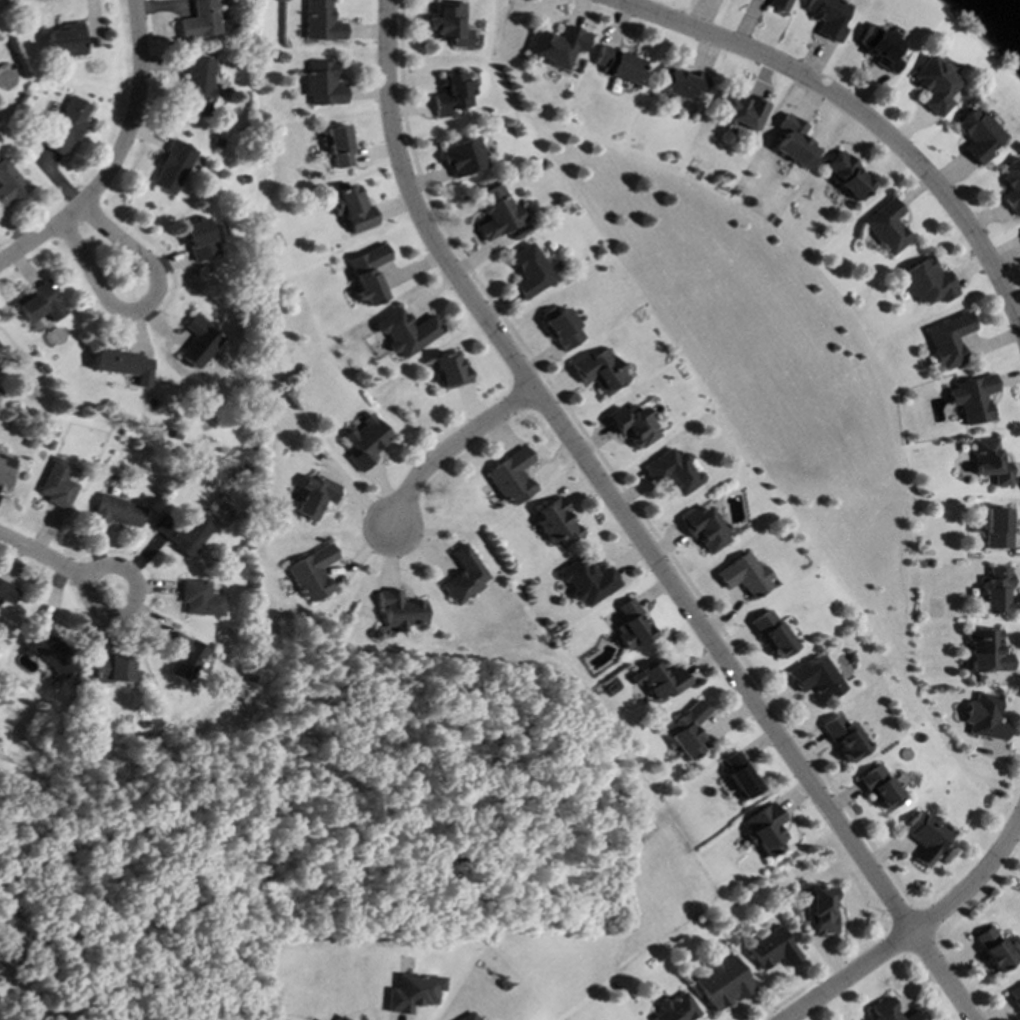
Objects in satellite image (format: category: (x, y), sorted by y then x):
building: (778, 5)
building: (827, 18)
building: (200, 20)
building: (320, 22)
building: (450, 24)
building: (67, 40)
building: (558, 46)
building: (880, 48)
building: (618, 64)
building: (323, 84)
building: (681, 84)
building: (935, 85)
building: (199, 86)
building: (454, 95)
building: (741, 111)
road: (858, 112)
building: (68, 126)
building: (978, 135)
building: (795, 143)
building: (339, 147)
road: (116, 156)
building: (465, 157)
building: (173, 168)
building: (849, 176)
building: (9, 184)
building: (1012, 186)
building: (353, 209)
building: (498, 213)
building: (888, 227)
building: (200, 240)
building: (531, 271)
building: (370, 274)
building: (928, 283)
building: (38, 304)
road: (146, 307)
building: (564, 330)
building: (408, 332)
building: (950, 340)
building: (199, 342)
building: (124, 365)
building: (452, 370)
building: (600, 371)
building: (974, 398)
park: (778, 413)
building: (633, 425)
building: (367, 442)
road: (454, 446)
building: (991, 462)
building: (6, 470)
building: (673, 472)
building: (512, 477)
road: (603, 483)
building: (57, 484)
building: (315, 498)
building: (117, 511)
building: (557, 523)
building: (998, 528)
building: (705, 530)
building: (182, 533)
road: (43, 558)
building: (312, 573)
building: (464, 576)
building: (745, 576)
building: (587, 581)
building: (997, 591)
building: (8, 594)
building: (199, 599)
road: (128, 607)
building: (399, 611)
building: (630, 626)
building: (772, 634)
building: (987, 652)
building: (48, 653)
building: (183, 657)
building: (111, 668)
building: (816, 677)
building: (658, 679)
building: (985, 717)
building: (685, 731)
building: (845, 738)
building: (739, 775)
building: (880, 786)
building: (765, 829)
building: (926, 837)
road: (974, 879)
building: (823, 910)
building: (772, 949)
building: (994, 949)
road: (943, 975)
road: (849, 976)
building: (722, 983)
building: (413, 993)
building: (1015, 996)
building: (675, 1009)
building: (891, 1012)
building: (467, 1017)
building: (340, 1018)

